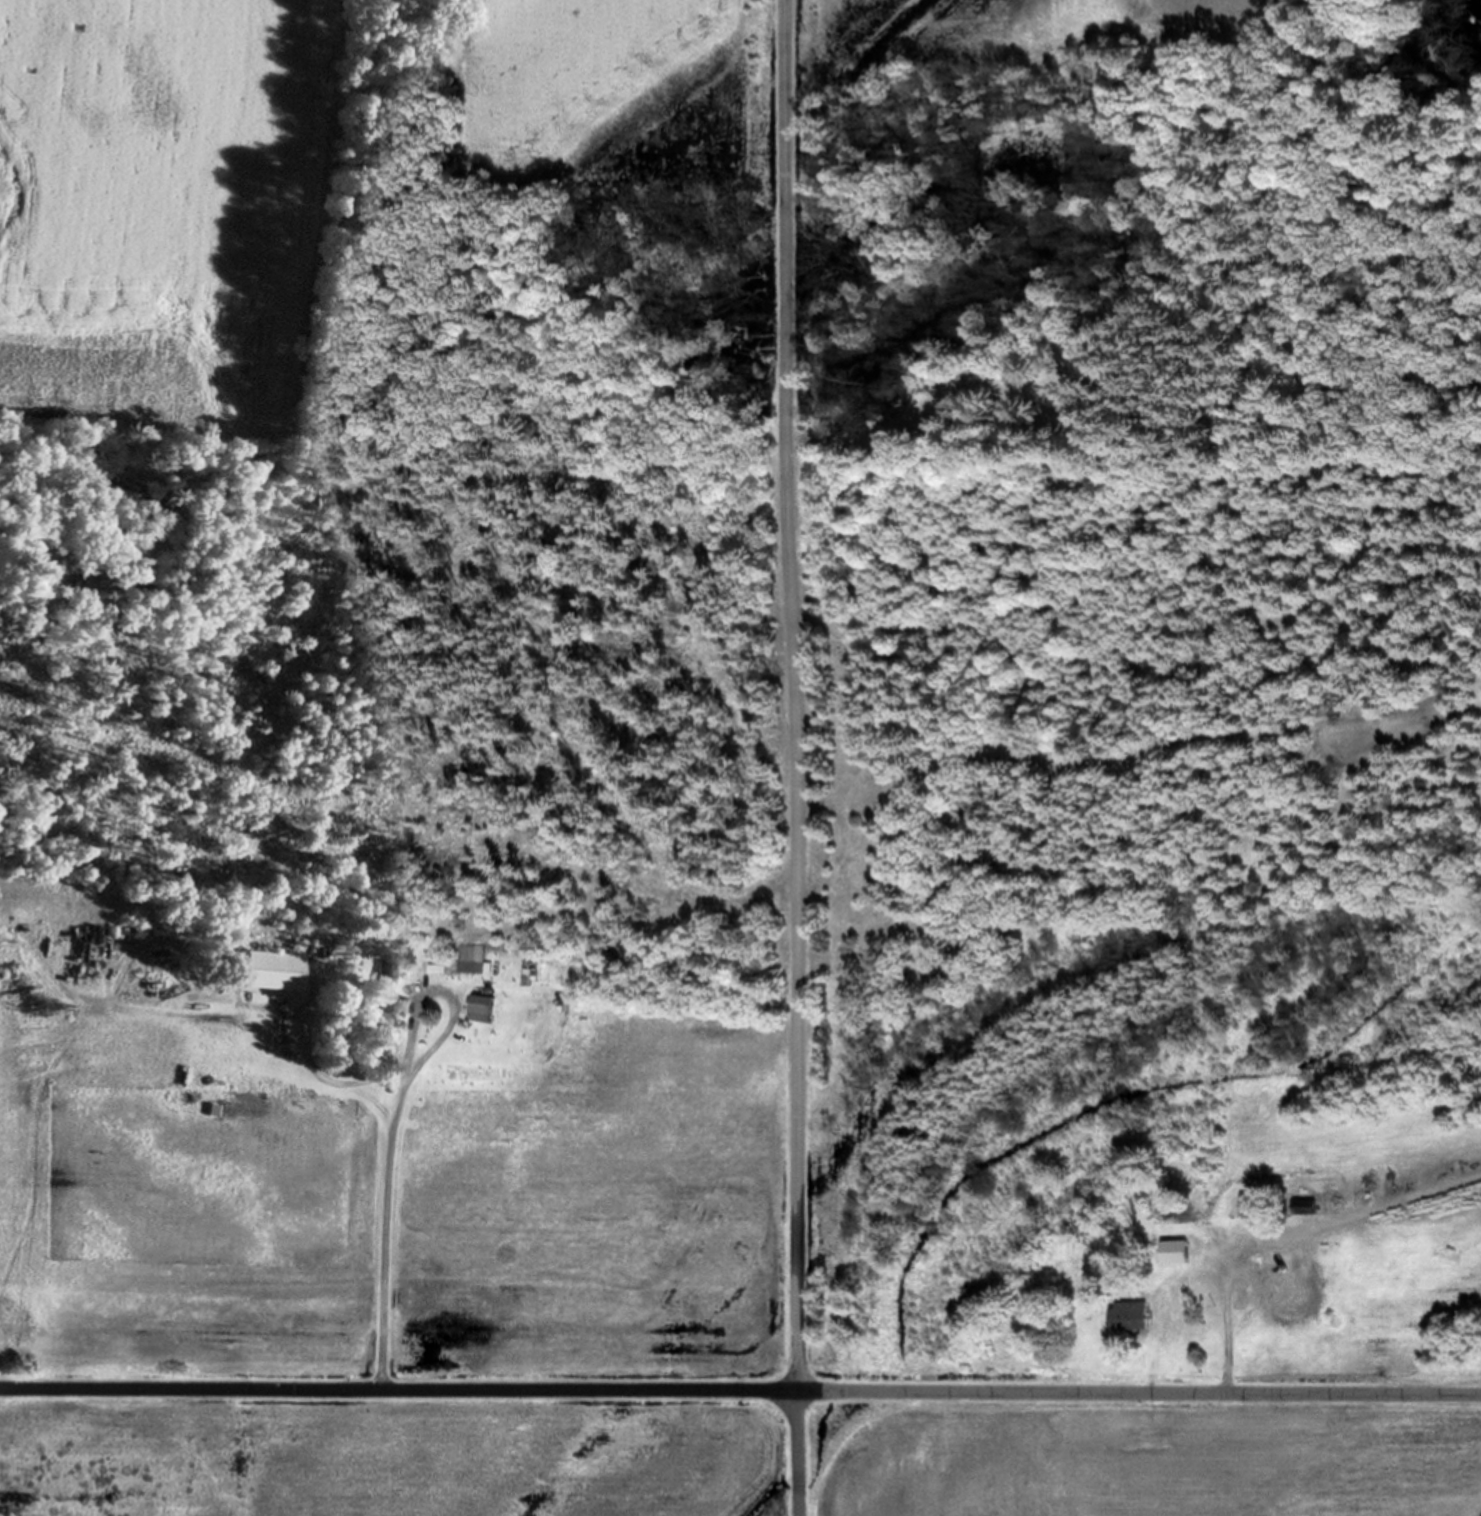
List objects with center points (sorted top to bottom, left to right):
road: (791, 758)
building: (471, 961)
building: (266, 973)
building: (379, 992)
building: (479, 1011)
road: (390, 1122)
building: (1248, 1206)
building: (1305, 1207)
building: (1174, 1253)
building: (1281, 1285)
building: (1129, 1317)
road: (740, 1395)

